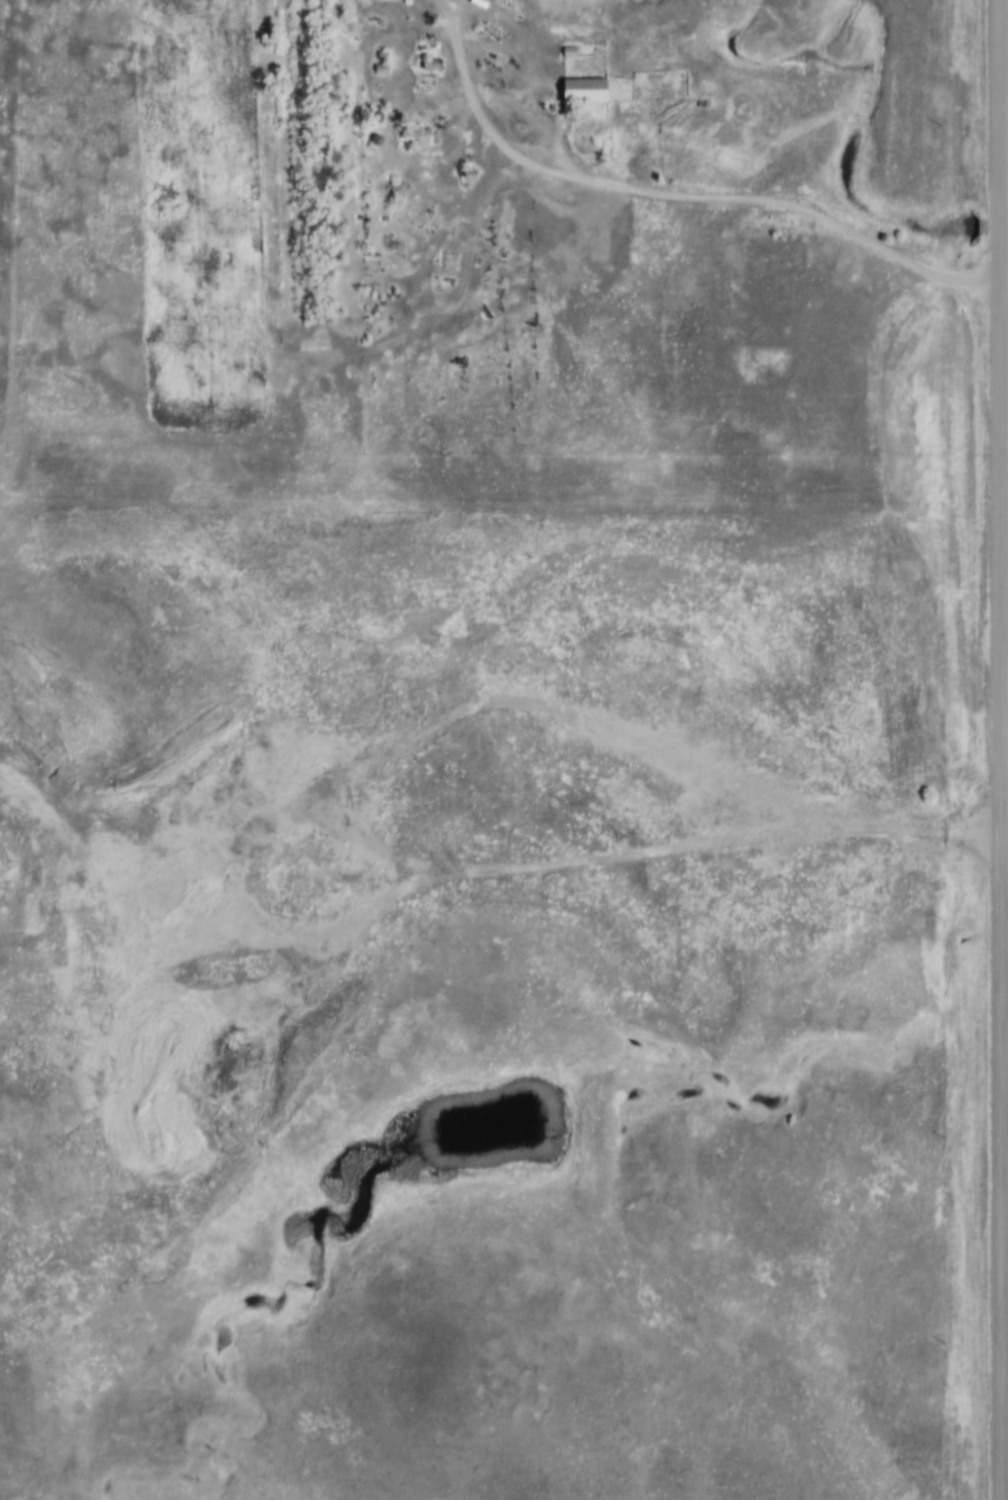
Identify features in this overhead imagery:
building: (431, 65)
building: (583, 90)
road: (997, 102)
road: (677, 200)
road: (997, 216)
road: (295, 353)
quarry: (410, 808)
road: (996, 864)
road: (345, 865)

